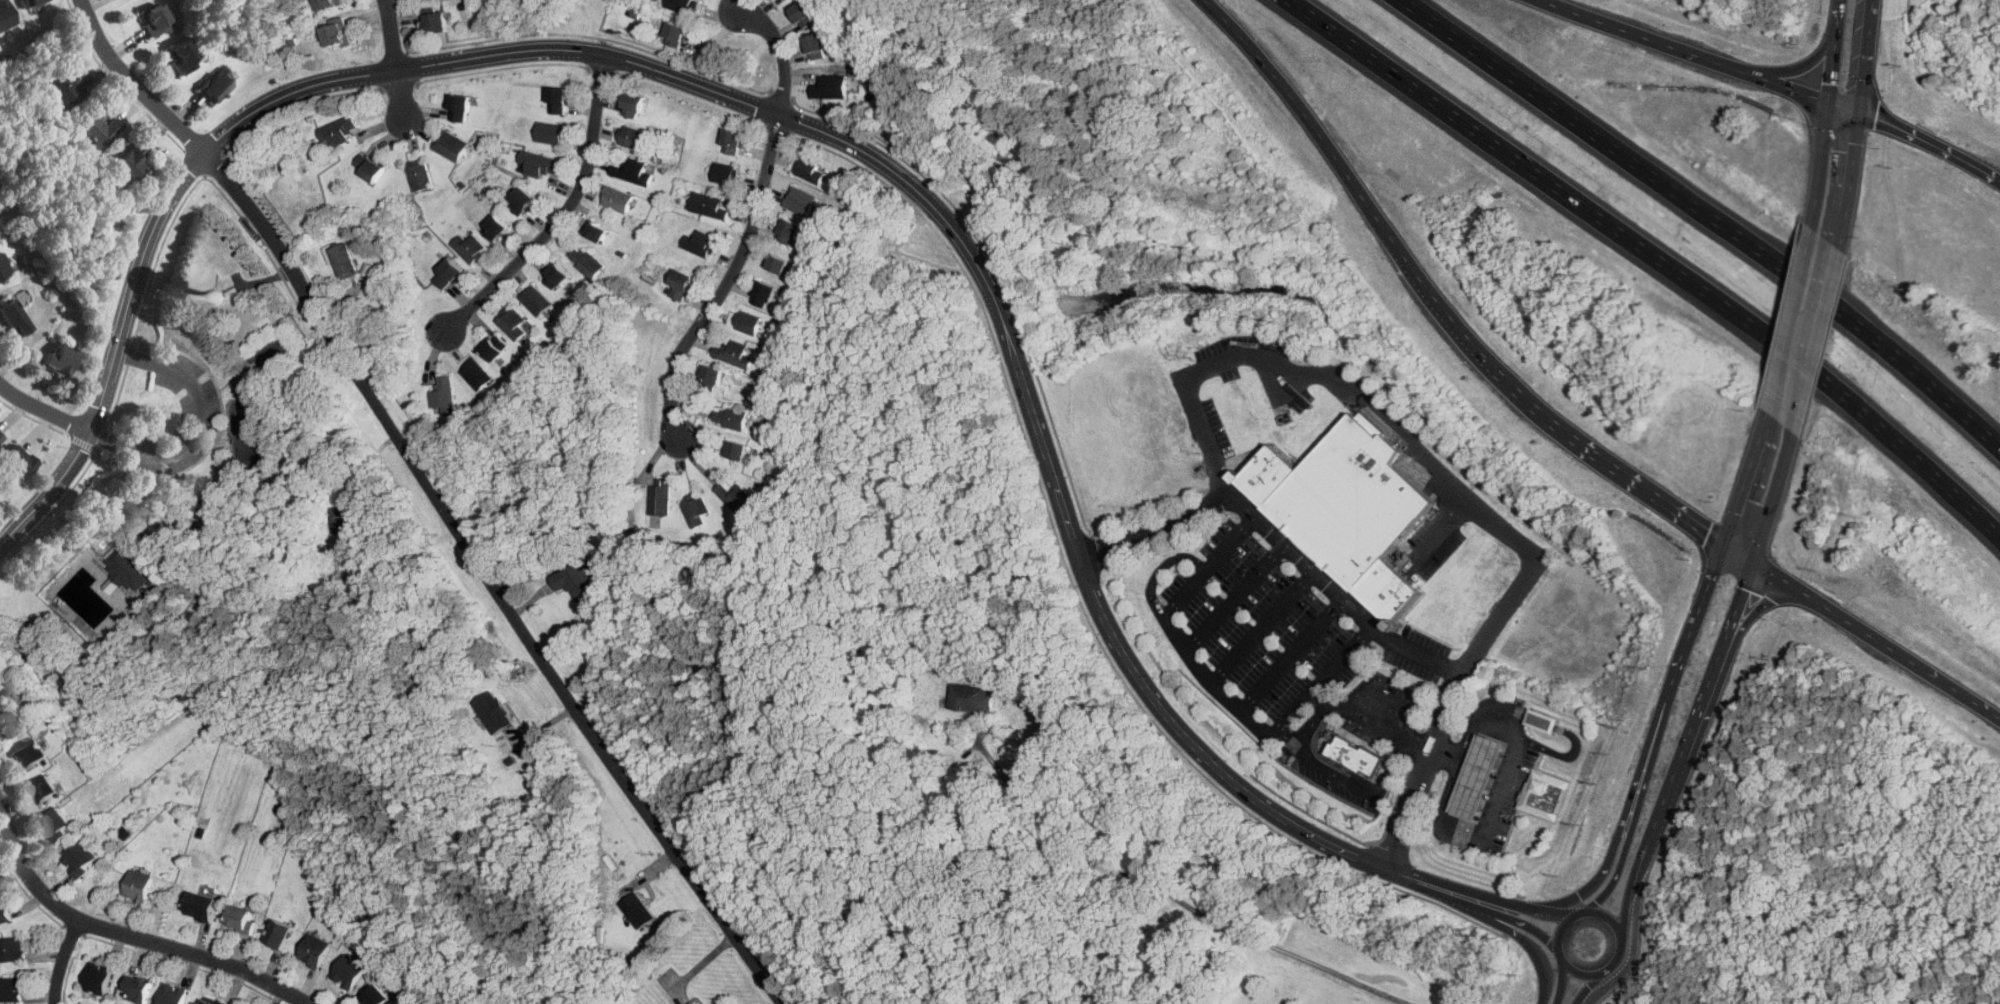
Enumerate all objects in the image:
building: (786, 0)
building: (29, 2)
building: (329, 3)
building: (683, 5)
building: (807, 13)
building: (6, 14)
building: (156, 18)
building: (438, 19)
building: (337, 33)
building: (678, 34)
building: (821, 46)
road: (543, 49)
building: (184, 54)
road: (779, 55)
road: (1696, 56)
road: (397, 59)
road: (1808, 67)
building: (214, 86)
building: (832, 86)
building: (64, 88)
building: (561, 100)
traffic signals: (1831, 104)
building: (636, 105)
building: (462, 107)
road: (1829, 114)
traffic signals: (1861, 115)
road: (1859, 126)
building: (99, 127)
building: (340, 130)
building: (551, 133)
building: (633, 137)
building: (735, 141)
building: (452, 145)
road: (1931, 145)
building: (133, 160)
building: (540, 164)
building: (371, 167)
building: (812, 169)
building: (635, 171)
building: (725, 173)
road: (1347, 174)
building: (420, 175)
building: (618, 199)
building: (524, 201)
building: (801, 201)
building: (709, 205)
road: (564, 215)
road: (1705, 216)
building: (498, 228)
building: (598, 230)
building: (791, 231)
building: (700, 243)
building: (472, 249)
road: (1653, 257)
building: (344, 261)
building: (587, 262)
building: (779, 263)
building: (4, 265)
building: (450, 274)
building: (558, 276)
road: (727, 279)
building: (682, 285)
building: (767, 291)
building: (216, 297)
building: (536, 300)
road: (1829, 305)
building: (15, 317)
road: (1794, 322)
building: (750, 323)
building: (514, 324)
building: (494, 350)
building: (737, 354)
building: (61, 359)
road: (147, 359)
building: (714, 374)
building: (477, 375)
road: (1335, 379)
building: (444, 396)
road: (1807, 397)
road: (44, 409)
building: (732, 418)
building: (1, 437)
road: (180, 448)
building: (739, 450)
road: (1597, 456)
building: (18, 462)
building: (1264, 475)
road: (1748, 481)
building: (661, 497)
road: (435, 498)
building: (738, 498)
building: (1348, 501)
building: (697, 511)
building: (342, 520)
road: (1159, 534)
traffic signals: (1724, 546)
road: (1741, 555)
traffic signals: (1758, 565)
road: (1160, 568)
building: (128, 569)
building: (576, 581)
building: (1384, 591)
road: (1234, 596)
road: (1336, 596)
road: (1698, 611)
road: (1765, 613)
parking lot: (1279, 628)
road: (1262, 629)
road: (1176, 635)
road: (1880, 639)
road: (1290, 656)
road: (1327, 676)
road: (1713, 689)
road: (1385, 697)
building: (973, 699)
road: (1449, 707)
road: (1312, 708)
building: (495, 712)
building: (1541, 721)
building: (6, 723)
road: (1293, 731)
parking lot: (1359, 737)
road: (1420, 740)
road: (1199, 749)
building: (1356, 752)
building: (28, 754)
road: (1307, 757)
building: (1475, 777)
road: (1503, 788)
building: (47, 789)
building: (1544, 793)
gas station: (1544, 793)
road: (1636, 800)
road: (1625, 812)
building: (60, 825)
building: (81, 858)
road: (1420, 879)
building: (139, 885)
road: (1468, 895)
road: (1173, 896)
building: (203, 906)
road: (1532, 908)
building: (639, 911)
road: (1608, 914)
building: (6, 916)
building: (243, 918)
road: (1526, 921)
road: (1560, 927)
road: (1518, 933)
road: (127, 934)
building: (282, 934)
building: (316, 950)
building: (13, 951)
road: (1619, 957)
road: (61, 959)
road: (1579, 971)
building: (350, 972)
road: (1561, 978)
building: (98, 979)
road: (1591, 987)
building: (138, 988)
building: (11, 990)
building: (173, 994)
building: (379, 995)
building: (212, 1002)
building: (225, 1002)
building: (694, 1002)

